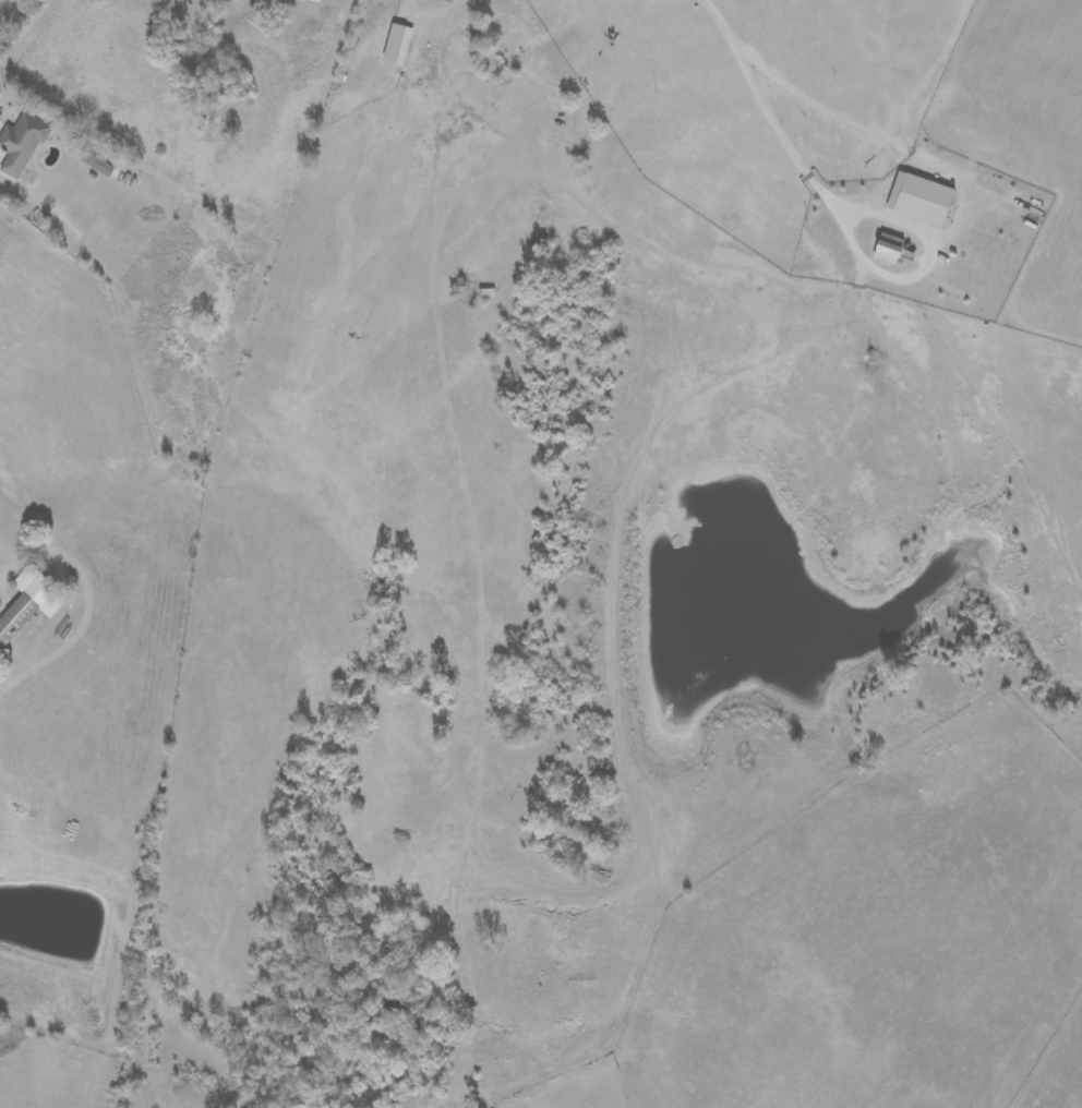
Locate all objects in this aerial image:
building: (397, 45)
road: (770, 118)
building: (21, 144)
building: (919, 198)
building: (889, 248)
building: (29, 602)

